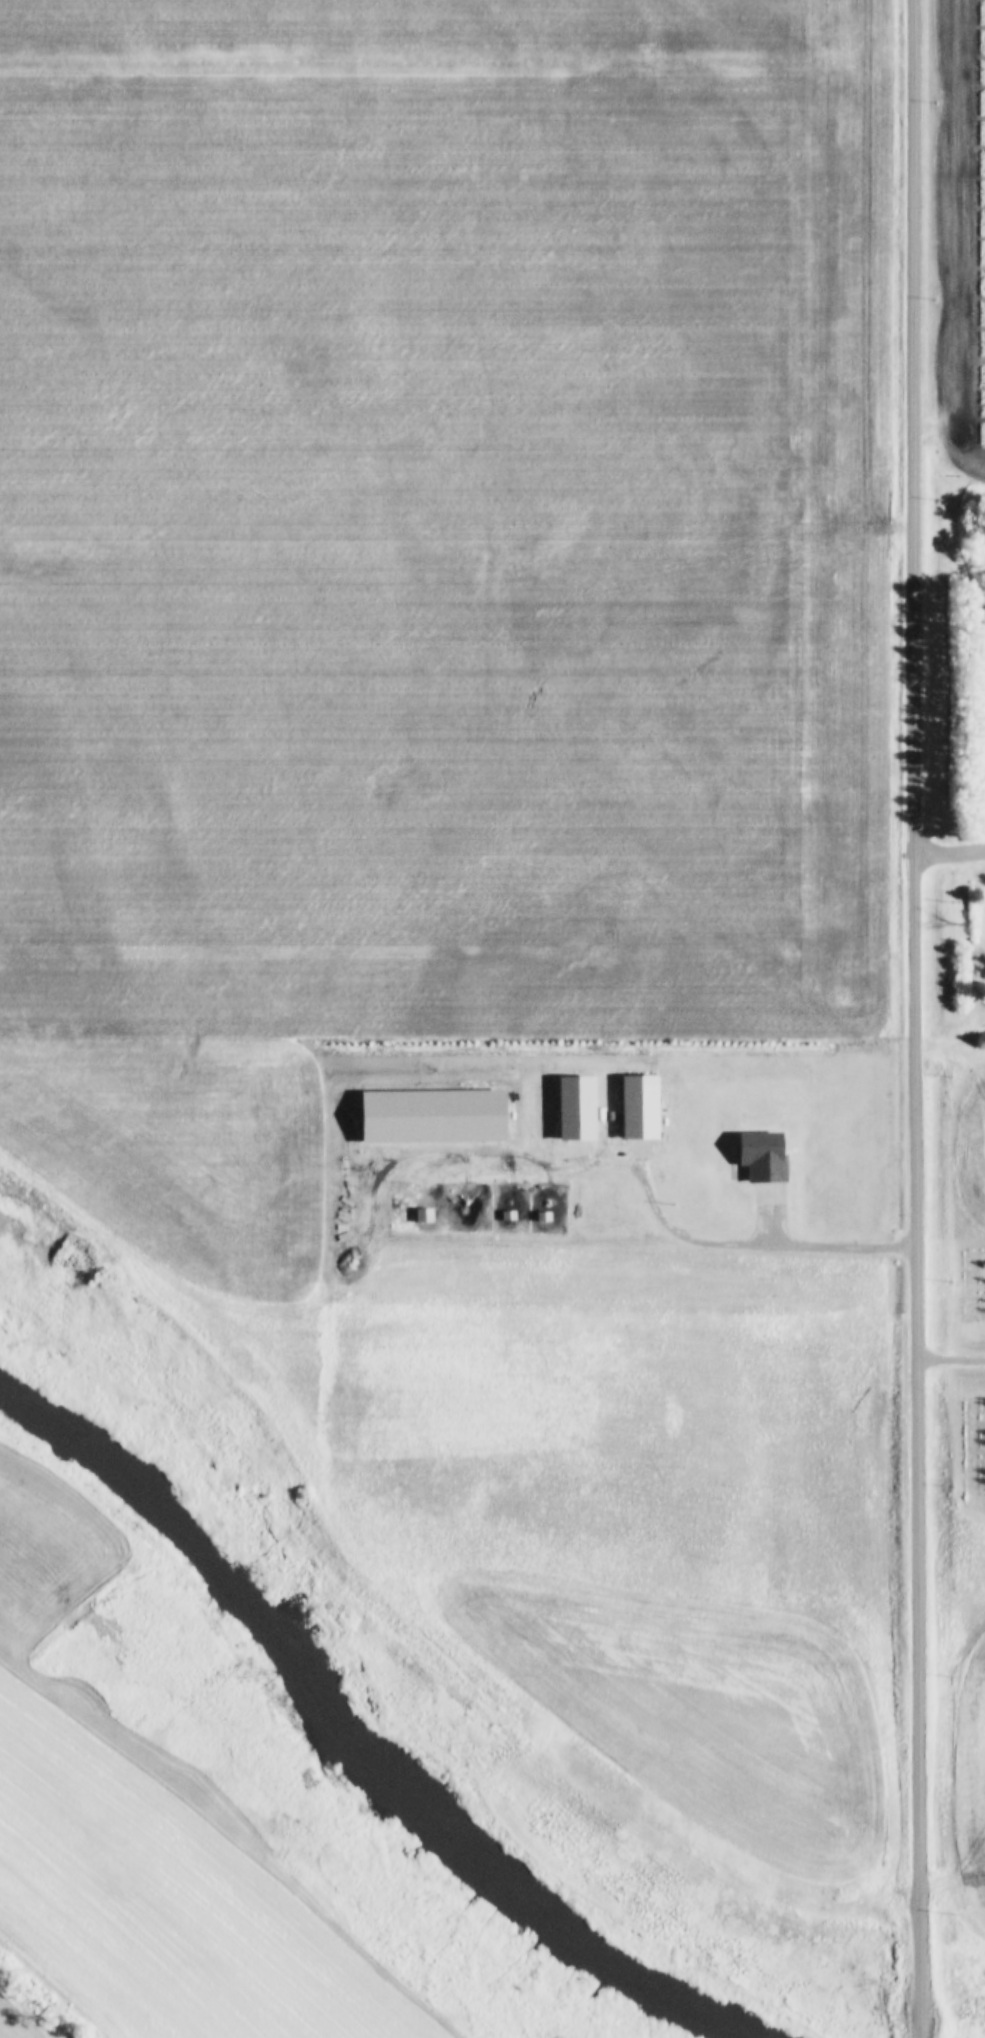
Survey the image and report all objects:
road: (951, 854)
road: (916, 1019)
road: (756, 1243)
road: (949, 1363)
river: (338, 1702)
river: (731, 2017)

